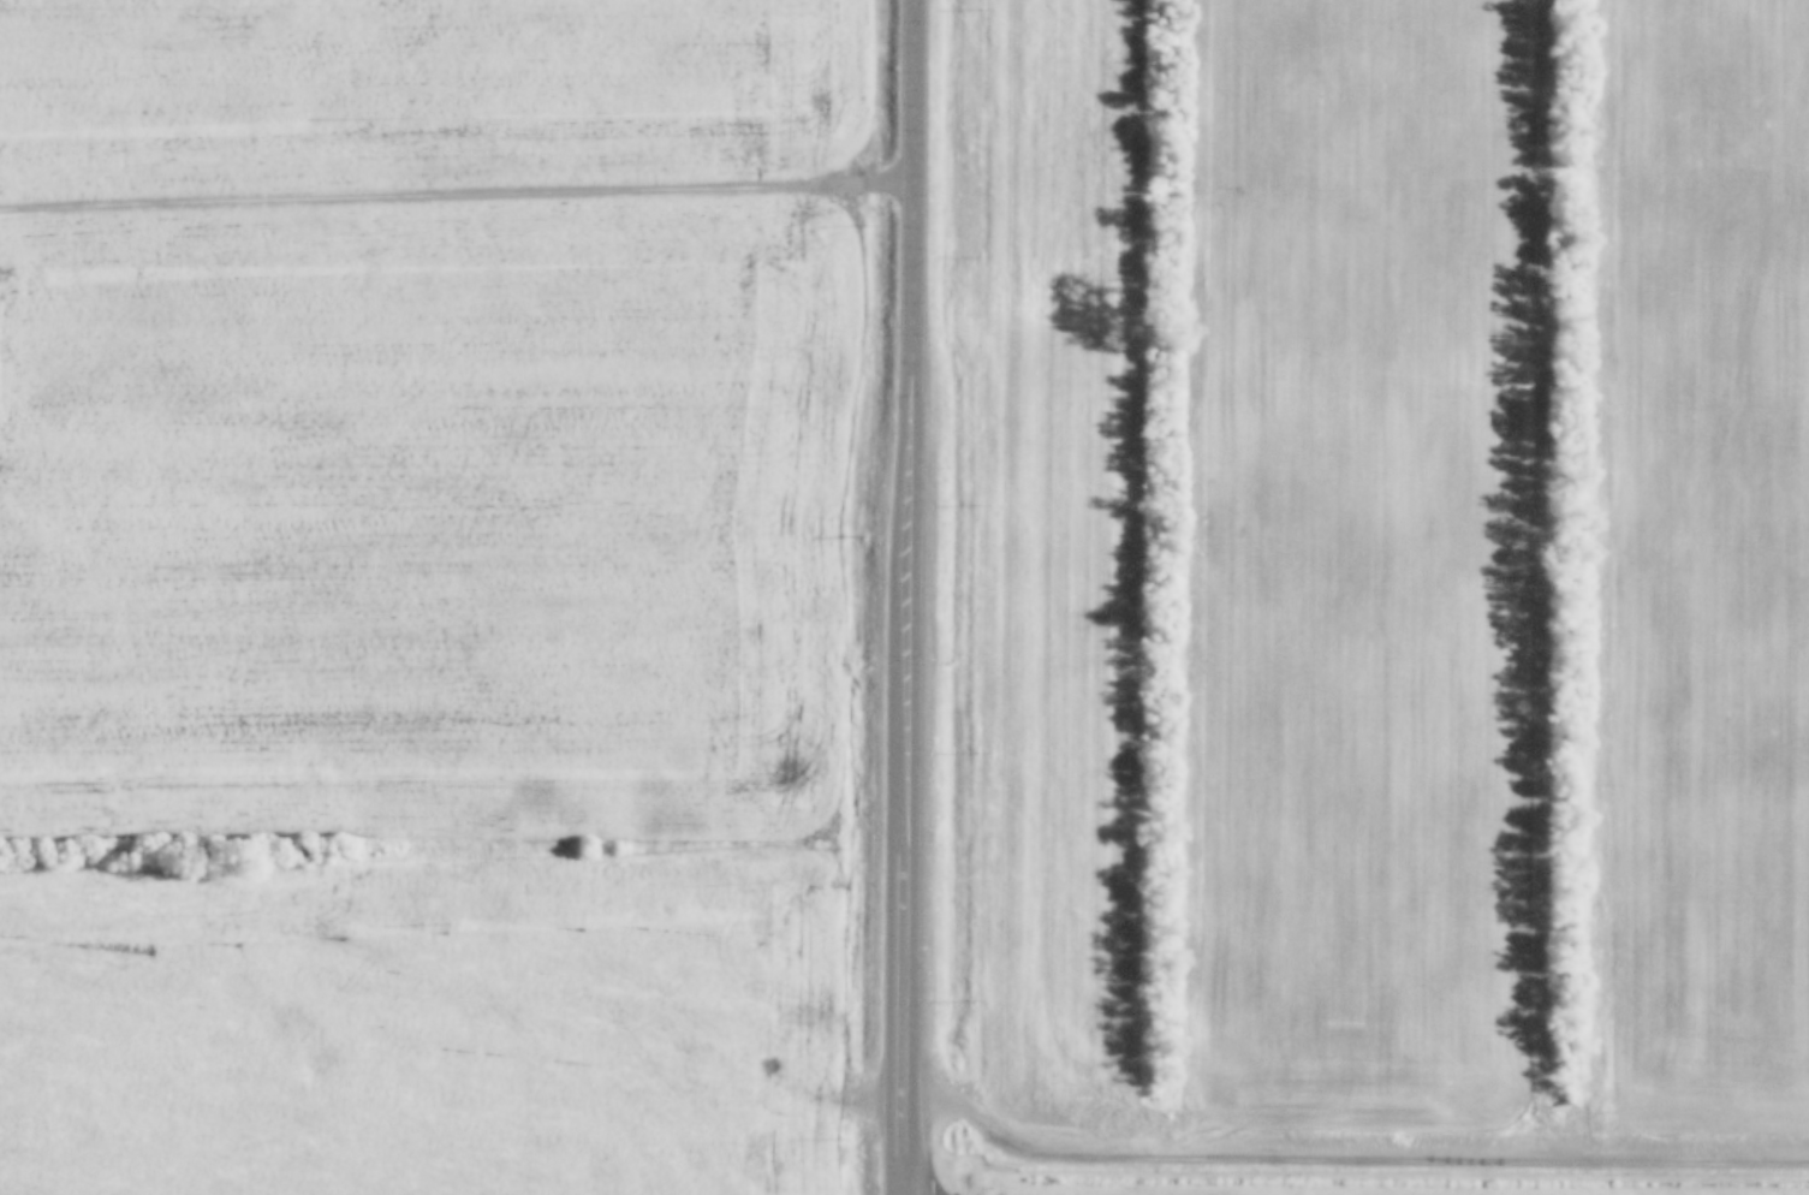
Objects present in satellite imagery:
road: (459, 195)
road: (916, 596)
road: (1355, 1163)

